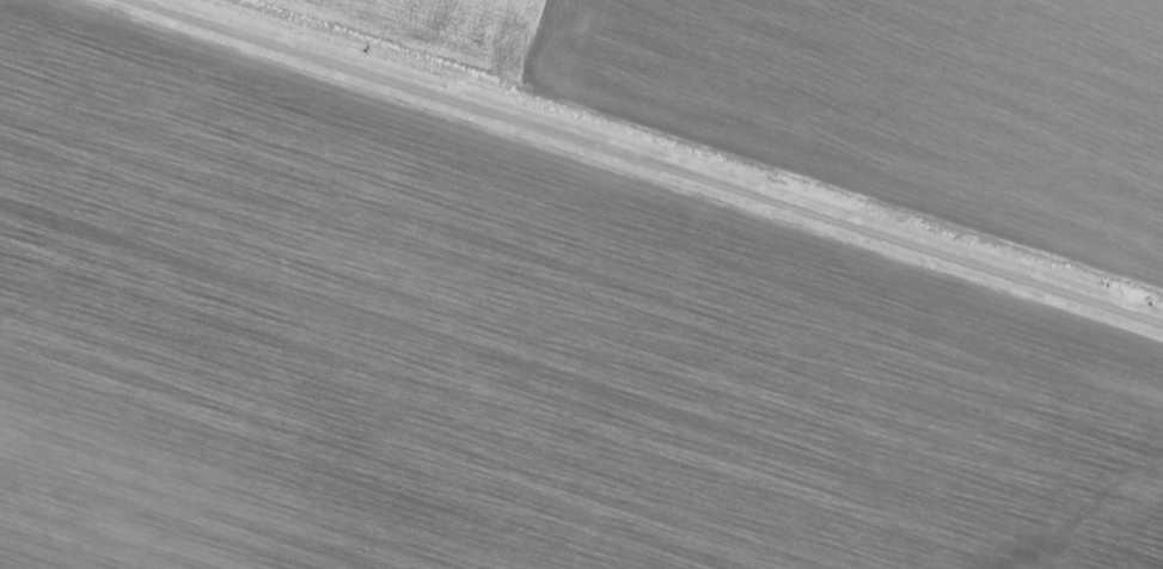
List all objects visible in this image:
road: (616, 185)

